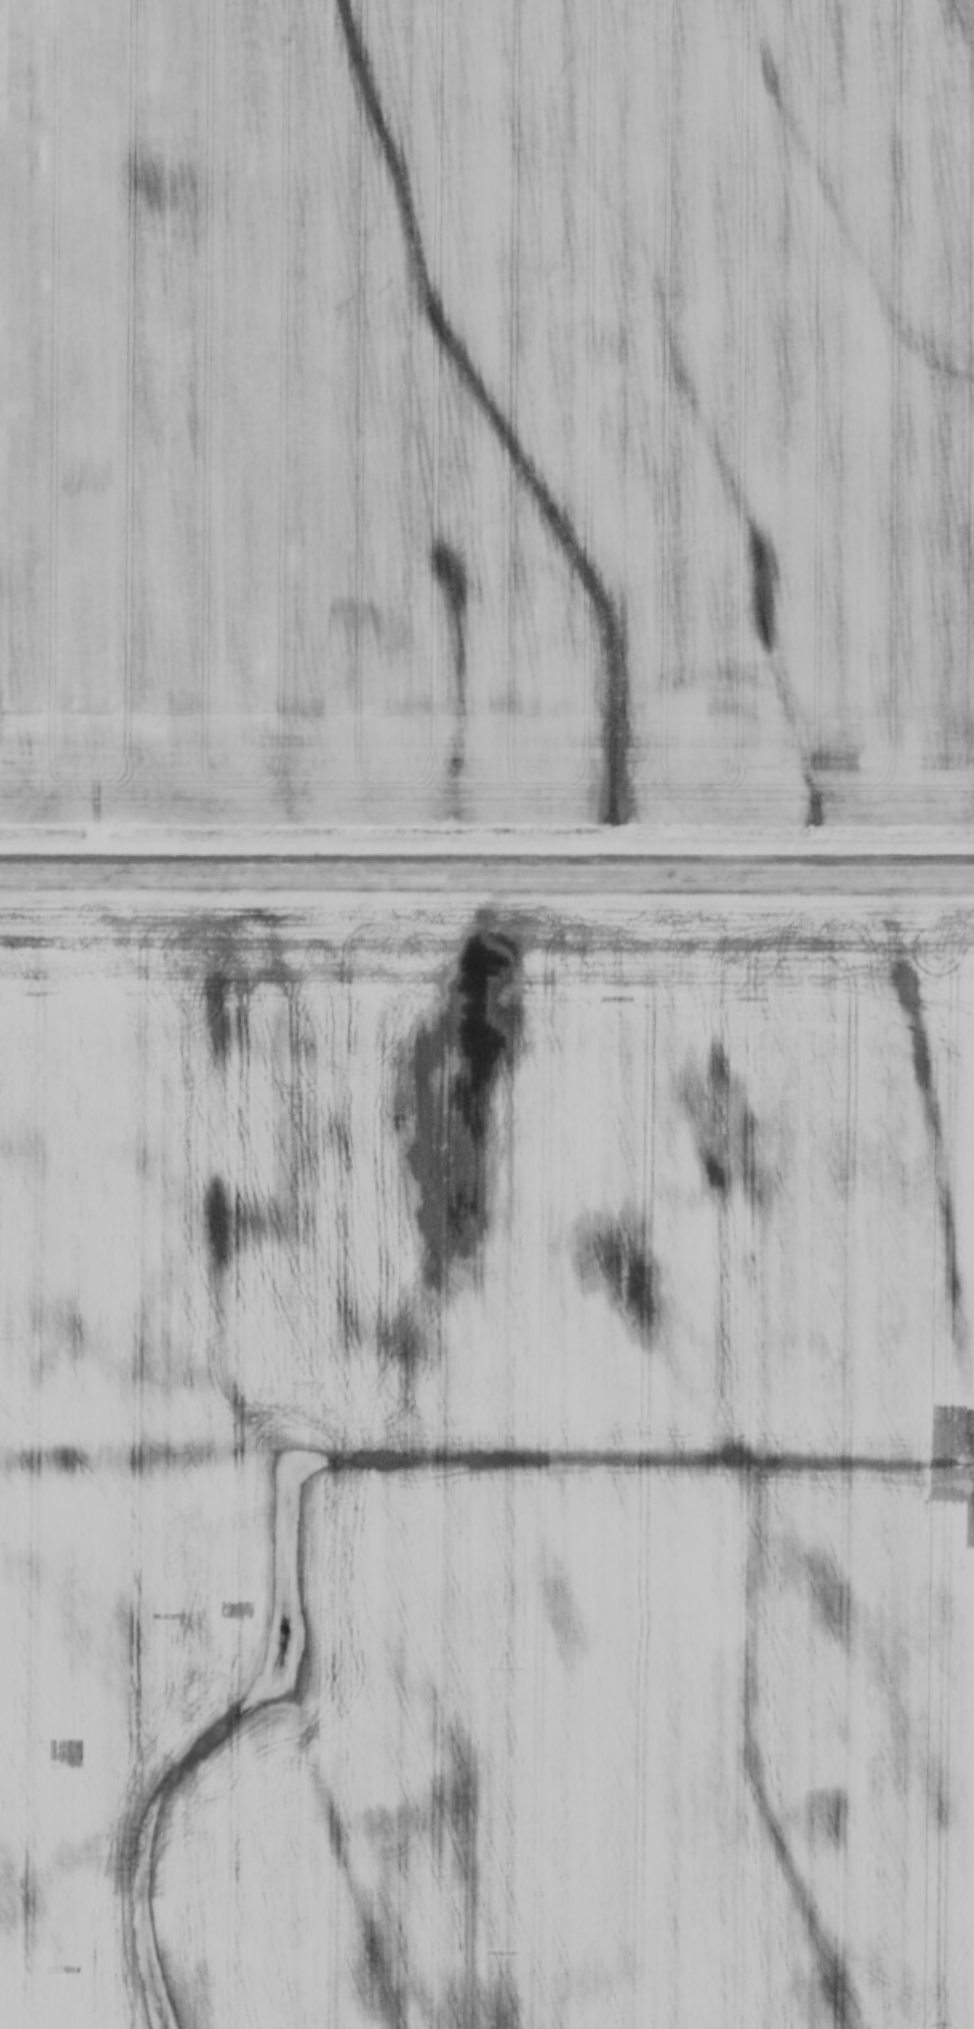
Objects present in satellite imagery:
road: (486, 862)

